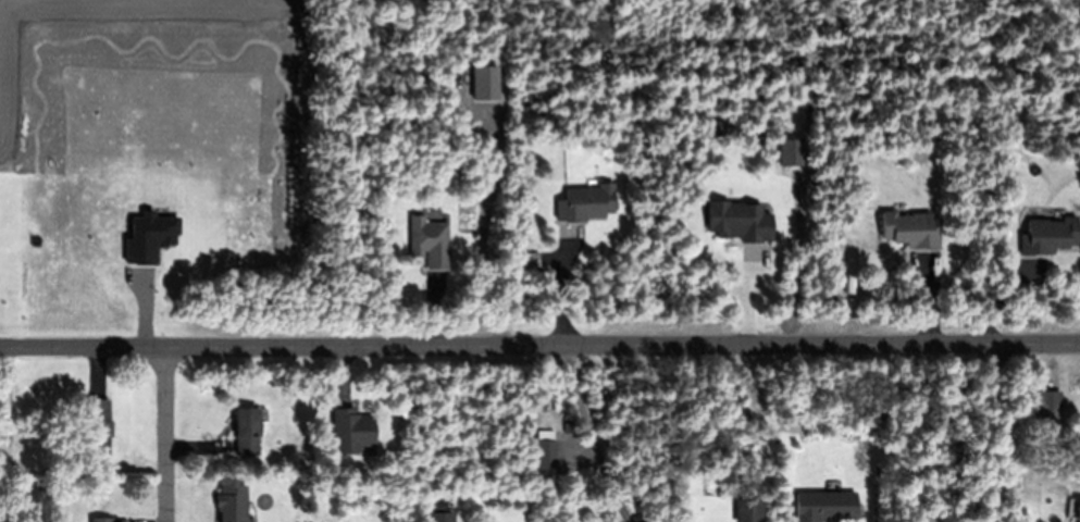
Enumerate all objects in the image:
building: (486, 84)
crop: (148, 149)
building: (586, 203)
building: (741, 222)
building: (911, 231)
building: (426, 235)
building: (1048, 236)
road: (539, 346)
building: (1050, 405)
building: (98, 425)
building: (246, 430)
building: (353, 432)
road: (166, 435)
building: (545, 455)
building: (18, 482)
building: (25, 483)
building: (825, 507)
building: (12, 509)
building: (1078, 510)
building: (749, 511)
building: (232, 512)
building: (440, 517)
building: (101, 519)

